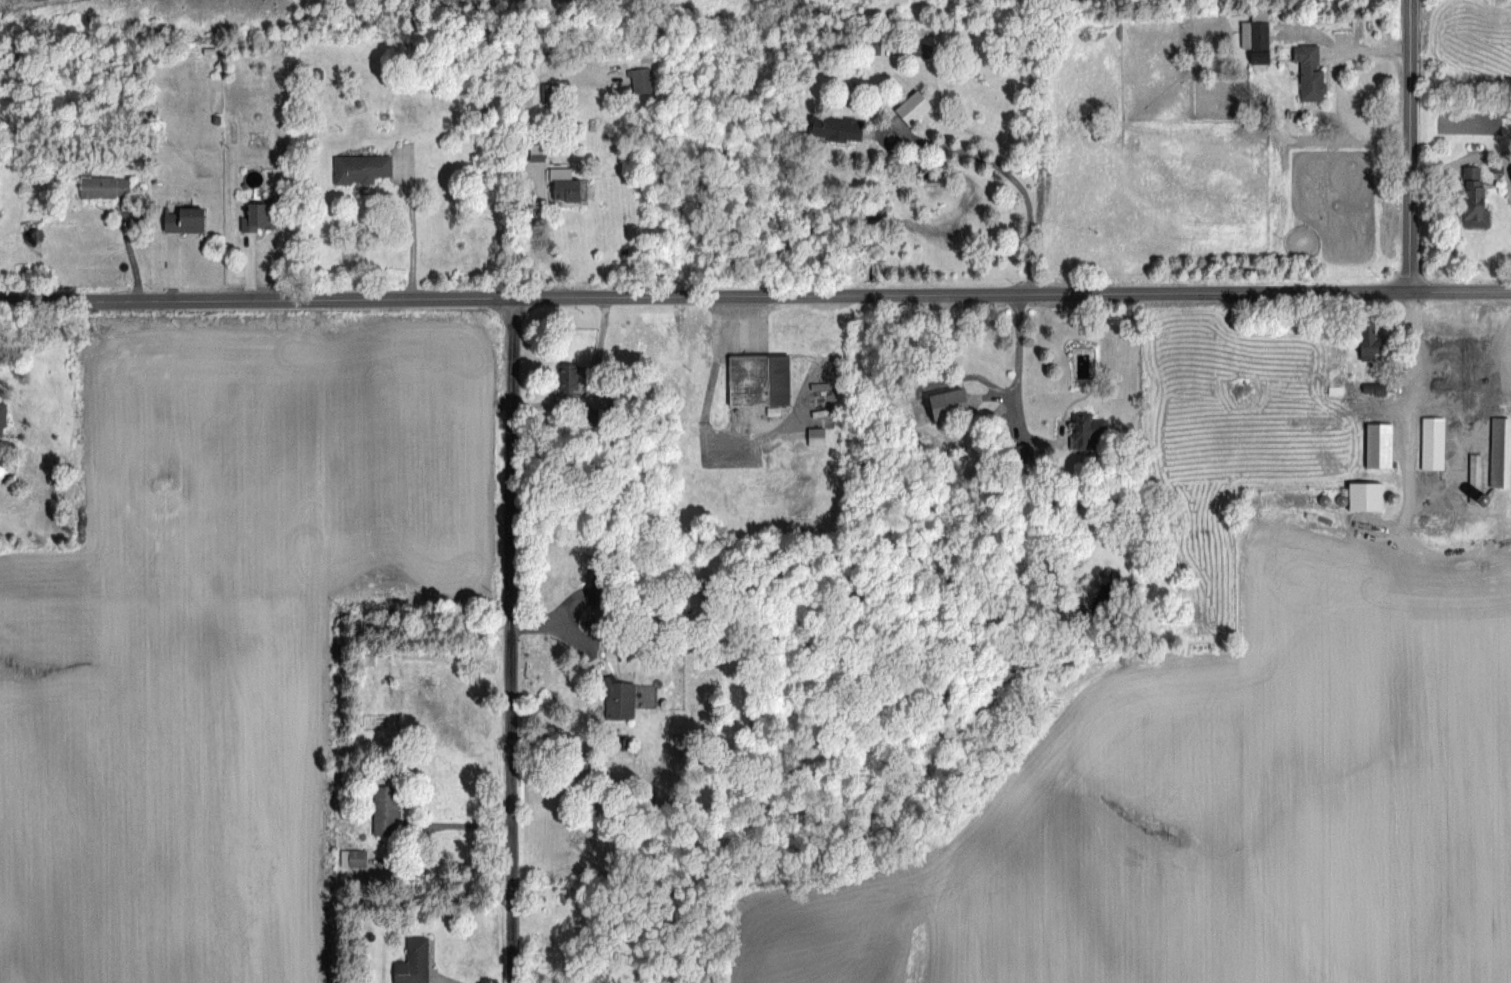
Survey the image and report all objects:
building: (1255, 39)
building: (922, 50)
building: (1309, 72)
building: (640, 79)
building: (549, 93)
building: (907, 112)
building: (835, 127)
road: (1407, 145)
building: (536, 151)
building: (360, 167)
road: (1022, 181)
building: (566, 184)
building: (104, 186)
building: (1473, 198)
building: (258, 216)
building: (184, 219)
road: (407, 234)
road: (755, 294)
building: (1369, 337)
road: (1013, 355)
building: (568, 378)
building: (758, 379)
building: (1373, 387)
road: (1411, 390)
building: (948, 402)
building: (1399, 406)
building: (1447, 412)
building: (590, 414)
building: (2, 417)
road: (704, 427)
building: (1086, 429)
building: (815, 435)
building: (1378, 444)
building: (1499, 451)
building: (3, 467)
building: (1475, 476)
building: (1364, 495)
road: (512, 639)
building: (618, 698)
building: (384, 808)
road: (456, 823)
building: (352, 857)
building: (412, 962)

